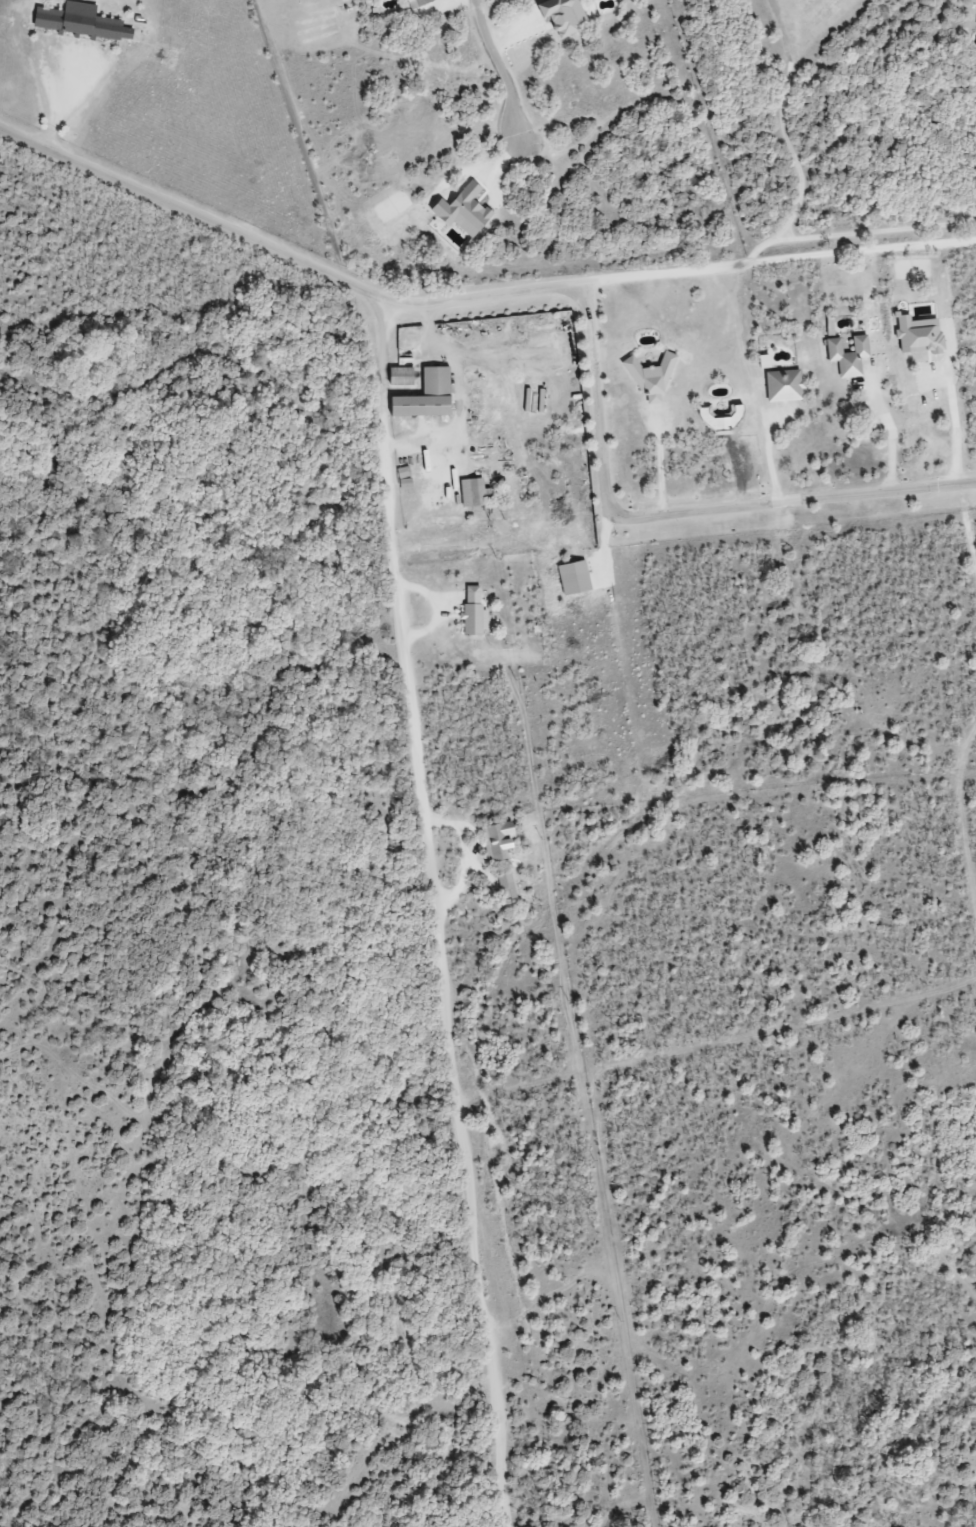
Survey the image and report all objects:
building: (415, 3)
building: (558, 16)
building: (75, 21)
building: (126, 34)
road: (502, 72)
park: (782, 104)
road: (792, 149)
road: (862, 233)
road: (280, 252)
building: (845, 354)
building: (648, 376)
building: (398, 377)
building: (782, 386)
building: (423, 397)
road: (597, 398)
building: (720, 421)
building: (470, 492)
road: (791, 502)
road: (436, 912)

